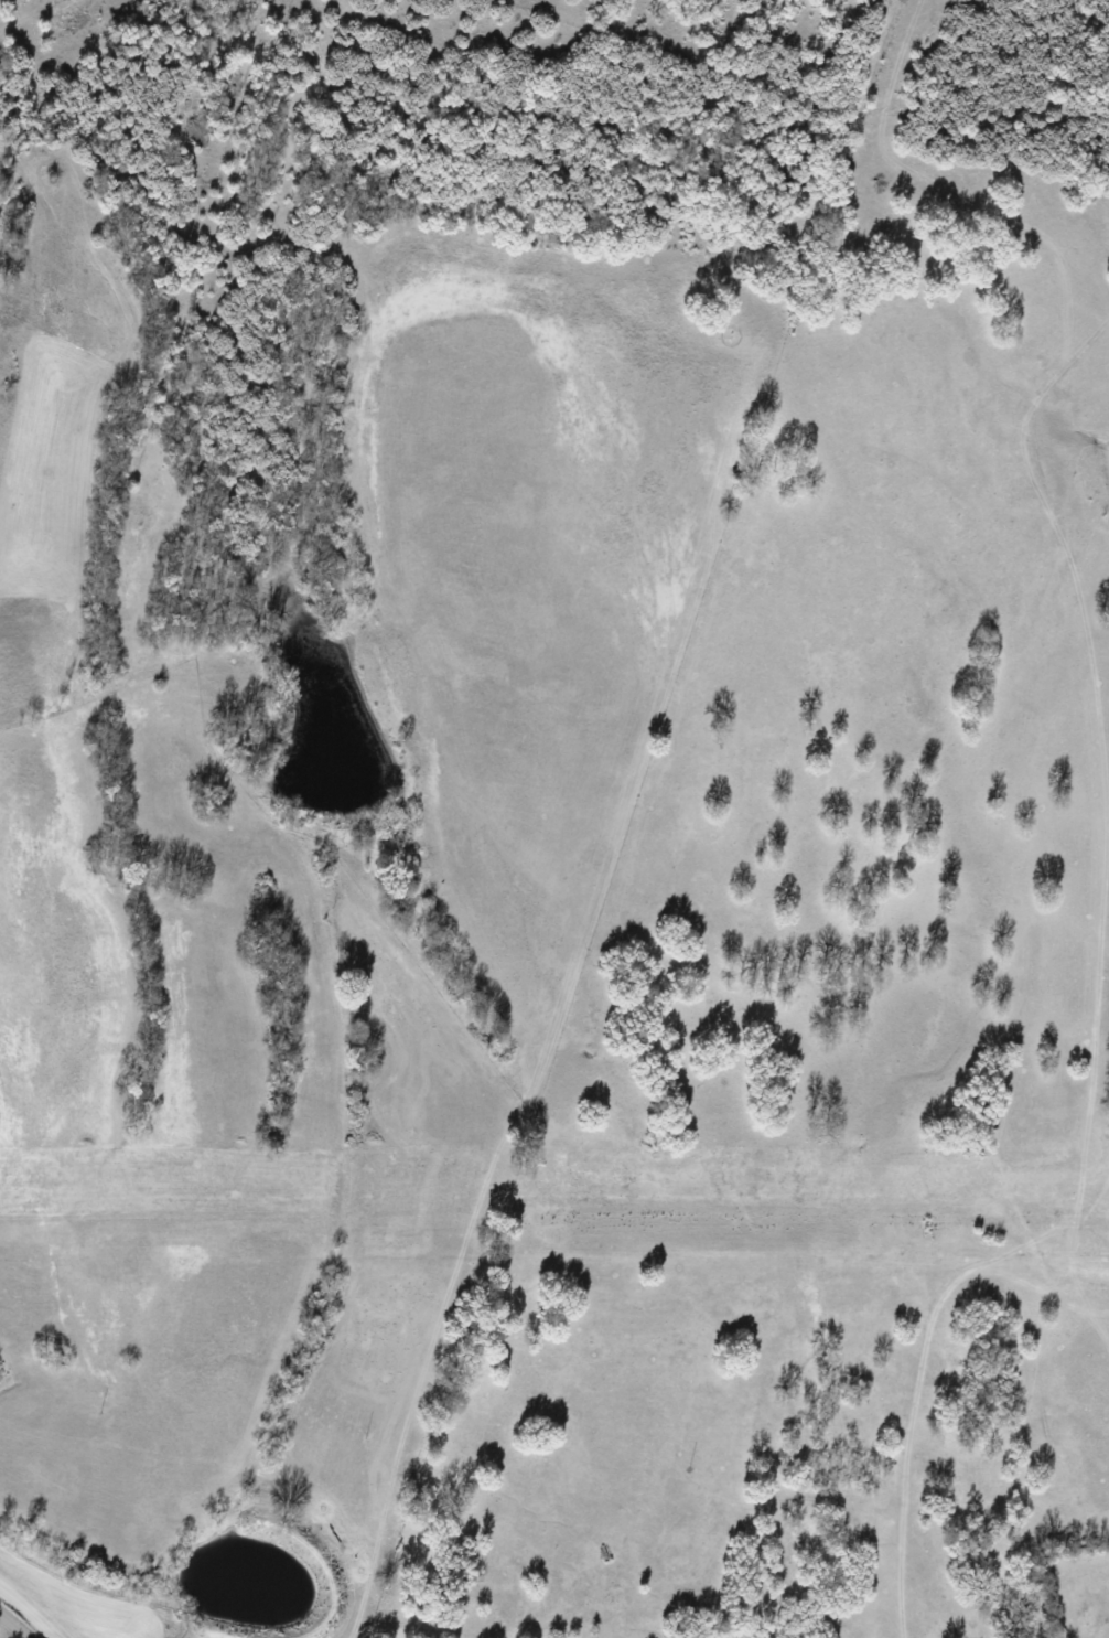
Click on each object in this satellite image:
road: (12, 1626)

